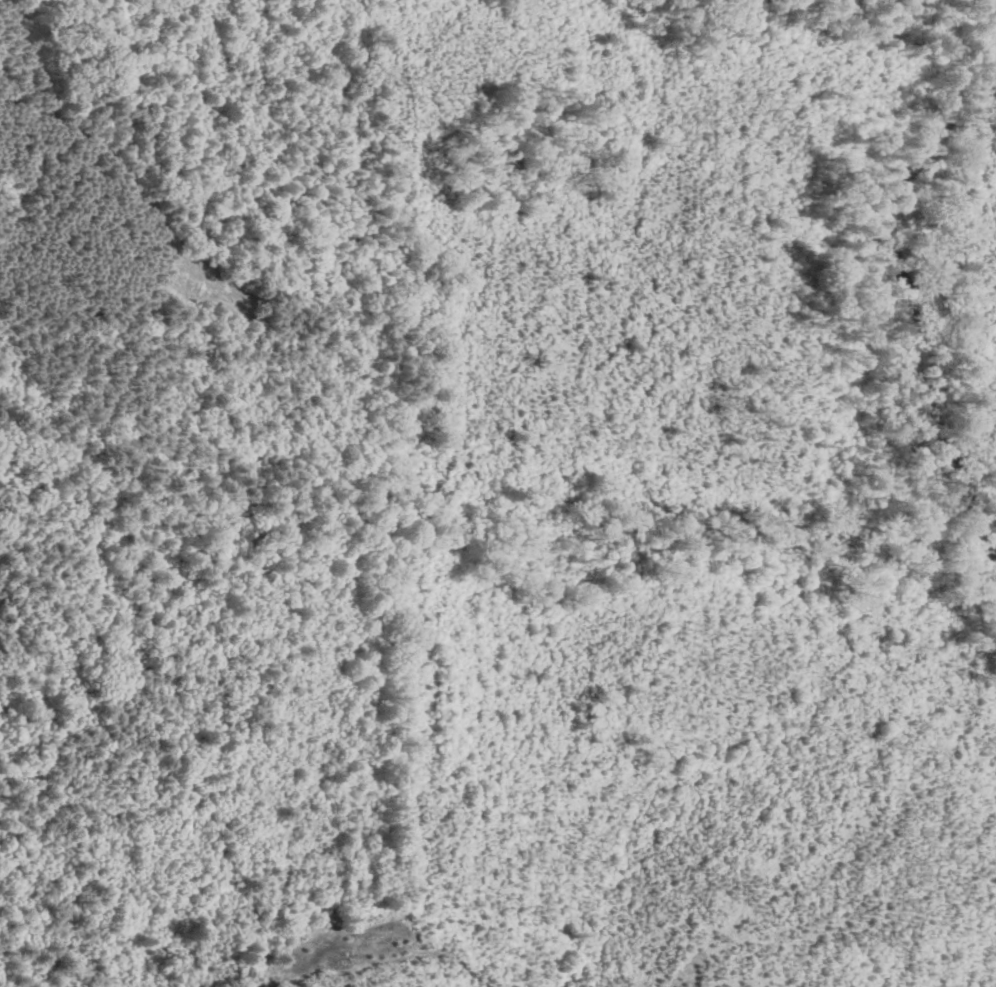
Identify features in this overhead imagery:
road: (176, 717)
road: (54, 762)

